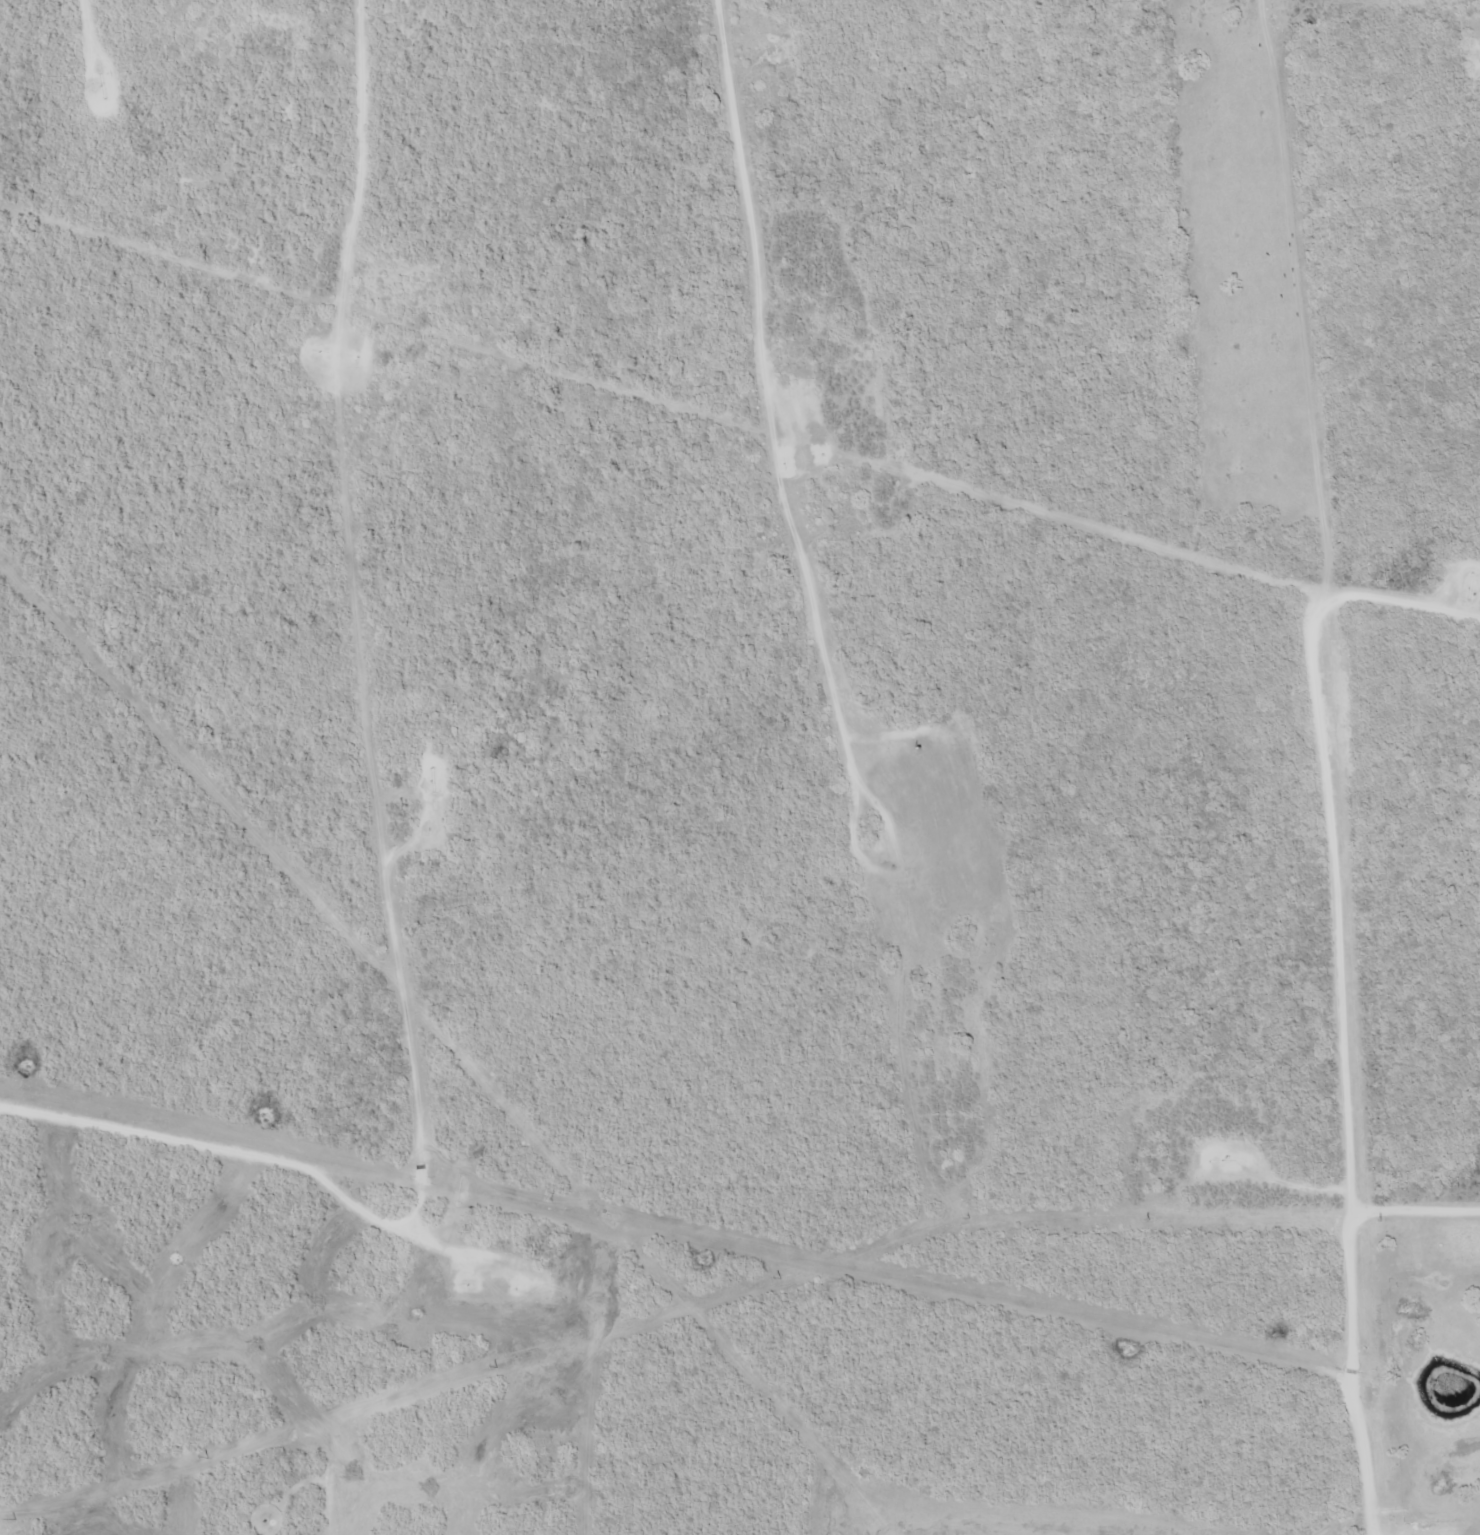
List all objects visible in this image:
road: (1410, 871)
road: (1414, 1210)
power tower: (966, 1219)
power tower: (1147, 1220)
power tower: (1378, 1222)
power tower: (777, 1279)
power tower: (493, 1367)
power tower: (204, 1458)
power tower: (12, 1519)

